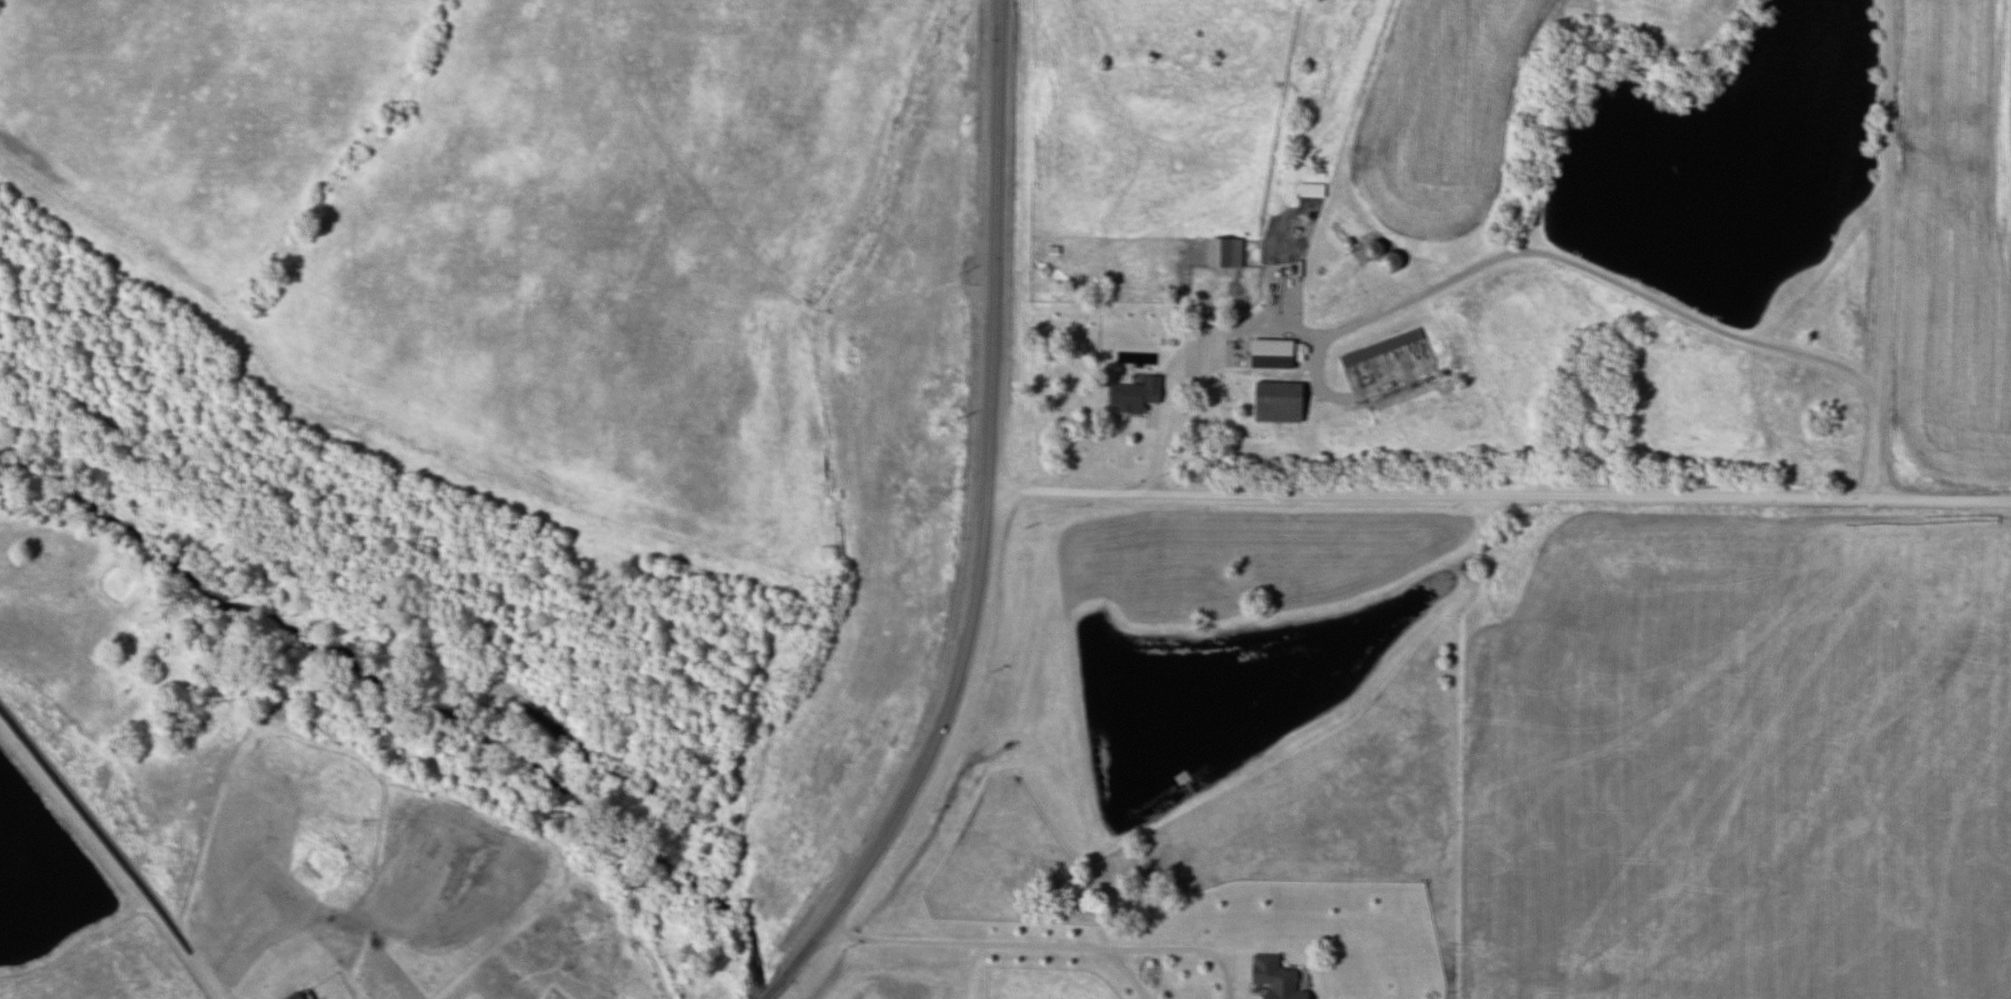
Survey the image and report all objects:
crop: (1951, 238)
building: (1223, 252)
road: (1513, 252)
building: (1387, 261)
building: (1316, 307)
building: (1379, 347)
building: (1239, 352)
building: (1130, 396)
building: (1275, 402)
road: (1498, 495)
road: (983, 529)
road: (115, 851)
road: (1005, 943)
building: (1272, 978)
building: (294, 995)

